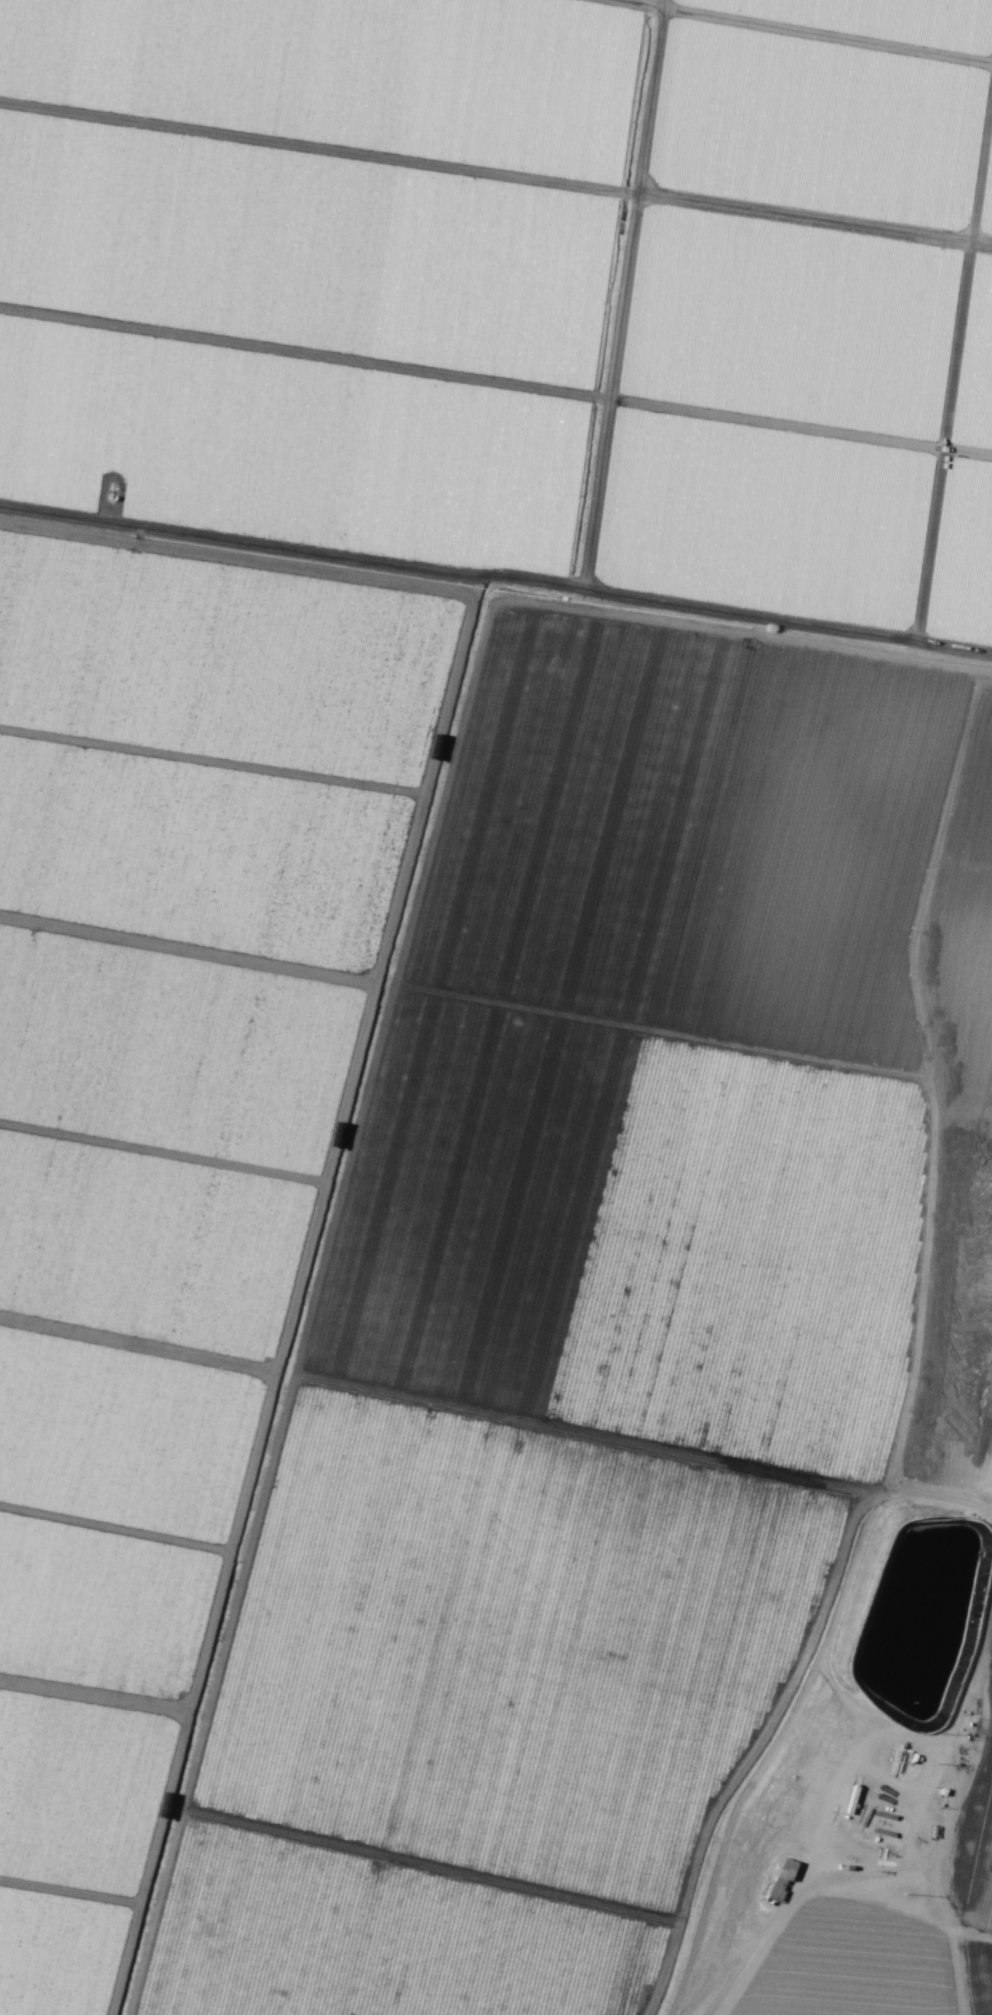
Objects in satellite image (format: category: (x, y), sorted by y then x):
crop: (496, 1007)
road: (949, 1794)
building: (778, 1879)

